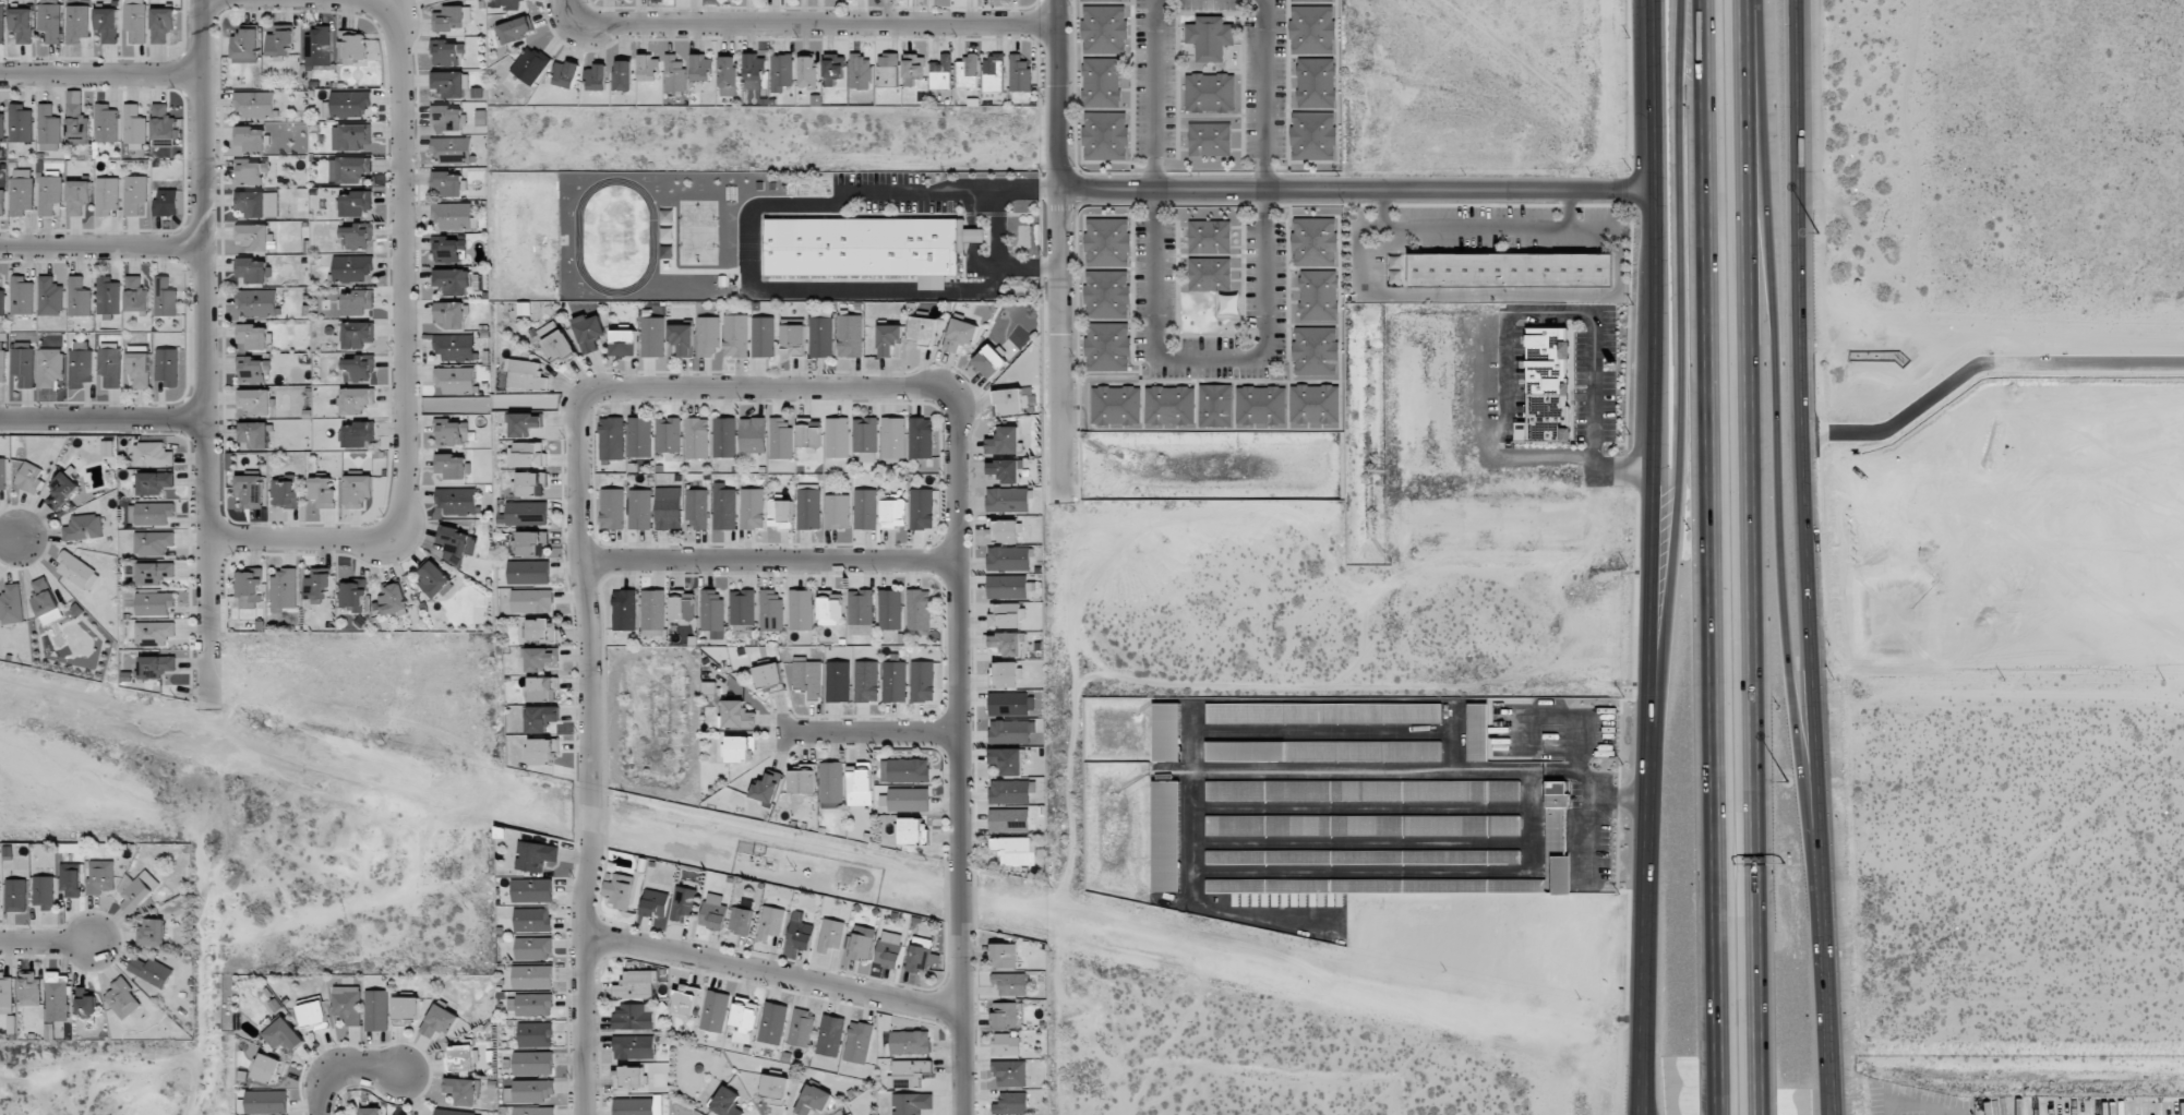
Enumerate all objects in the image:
building: (1092, 0)
building: (1313, 0)
building: (711, 2)
building: (508, 3)
building: (452, 19)
building: (135, 20)
building: (50, 22)
building: (77, 23)
building: (1, 24)
building: (22, 24)
building: (107, 24)
building: (161, 24)
road: (800, 25)
building: (515, 29)
building: (1104, 29)
building: (1312, 29)
building: (1210, 37)
building: (279, 40)
building: (245, 44)
building: (319, 47)
building: (352, 48)
building: (448, 53)
building: (530, 64)
building: (913, 65)
building: (648, 68)
building: (701, 68)
building: (887, 69)
building: (833, 70)
building: (754, 71)
building: (807, 71)
building: (861, 71)
building: (967, 71)
building: (780, 72)
building: (941, 72)
road: (103, 73)
building: (674, 73)
building: (993, 73)
building: (1019, 73)
building: (566, 74)
building: (622, 75)
building: (728, 75)
building: (597, 77)
building: (1316, 83)
building: (448, 84)
building: (1209, 93)
road: (1155, 94)
road: (1262, 94)
building: (350, 103)
building: (256, 105)
building: (1085, 109)
building: (446, 118)
building: (76, 119)
building: (20, 123)
building: (106, 123)
building: (134, 124)
building: (164, 125)
building: (1, 127)
building: (48, 129)
building: (1313, 135)
building: (356, 136)
building: (252, 139)
building: (1210, 139)
building: (452, 149)
building: (350, 169)
building: (252, 172)
building: (448, 183)
road: (1358, 189)
building: (21, 191)
building: (49, 193)
building: (135, 193)
building: (107, 195)
building: (77, 196)
building: (1, 202)
building: (166, 202)
building: (252, 203)
building: (357, 203)
building: (453, 215)
road: (996, 227)
road: (1476, 227)
building: (254, 236)
building: (358, 236)
building: (1209, 237)
building: (1315, 241)
building: (1107, 242)
road: (104, 247)
building: (861, 247)
road: (1061, 249)
building: (448, 250)
road: (751, 253)
building: (352, 268)
building: (253, 269)
building: (1510, 269)
building: (1209, 274)
building: (453, 280)
road: (397, 292)
building: (1107, 293)
road: (1500, 293)
building: (136, 295)
building: (1319, 295)
building: (22, 296)
building: (108, 296)
building: (50, 297)
building: (79, 297)
building: (165, 297)
building: (357, 301)
building: (2, 302)
building: (256, 302)
building: (1228, 303)
building: (452, 314)
building: (922, 331)
building: (589, 332)
building: (358, 334)
building: (820, 334)
building: (960, 334)
building: (850, 335)
building: (254, 336)
building: (652, 336)
building: (708, 336)
building: (735, 336)
building: (763, 336)
building: (682, 338)
building: (888, 338)
building: (792, 339)
building: (623, 343)
building: (1107, 346)
building: (454, 347)
building: (559, 347)
building: (1316, 350)
road: (208, 355)
road: (1210, 356)
building: (989, 361)
building: (23, 363)
building: (80, 363)
building: (2, 365)
building: (109, 365)
building: (139, 365)
building: (166, 365)
building: (50, 367)
building: (358, 369)
building: (254, 370)
building: (526, 374)
building: (455, 380)
road: (1684, 380)
building: (1545, 386)
building: (357, 400)
building: (254, 401)
building: (1009, 401)
building: (1313, 404)
building: (1116, 405)
building: (1260, 405)
building: (1169, 406)
building: (1215, 406)
road: (105, 415)
building: (525, 423)
road: (1780, 424)
building: (453, 432)
building: (254, 434)
building: (359, 434)
building: (668, 434)
building: (753, 435)
building: (639, 436)
building: (611, 437)
building: (696, 437)
building: (723, 437)
building: (780, 437)
building: (837, 437)
building: (865, 437)
building: (893, 437)
building: (921, 437)
building: (1004, 441)
building: (152, 454)
building: (526, 455)
building: (452, 466)
building: (1005, 470)
building: (2, 473)
building: (29, 477)
building: (155, 482)
building: (531, 483)
building: (61, 490)
building: (251, 490)
building: (358, 490)
building: (323, 491)
building: (285, 494)
building: (1007, 499)
building: (457, 501)
building: (723, 507)
building: (612, 508)
building: (639, 508)
building: (668, 508)
building: (696, 508)
building: (753, 508)
building: (808, 508)
building: (864, 508)
building: (921, 509)
building: (837, 512)
building: (151, 513)
building: (893, 513)
building: (780, 514)
building: (84, 527)
road: (8, 538)
building: (153, 542)
building: (531, 542)
building: (455, 543)
road: (1653, 557)
road: (1709, 557)
road: (1757, 557)
road: (1808, 557)
building: (1008, 559)
road: (770, 561)
road: (586, 565)
building: (77, 571)
building: (529, 572)
building: (153, 573)
building: (434, 579)
building: (1007, 586)
building: (248, 588)
building: (284, 591)
building: (353, 596)
building: (392, 599)
building: (45, 601)
building: (532, 601)
building: (155, 602)
building: (11, 604)
building: (682, 608)
building: (829, 609)
building: (889, 609)
building: (624, 610)
building: (653, 610)
building: (801, 610)
building: (919, 610)
building: (742, 611)
building: (770, 611)
building: (712, 612)
building: (861, 612)
building: (1006, 614)
building: (543, 630)
building: (154, 633)
building: (1008, 643)
building: (542, 658)
building: (157, 666)
building: (1005, 674)
building: (768, 675)
building: (808, 678)
building: (838, 681)
building: (865, 681)
building: (893, 681)
building: (922, 681)
building: (542, 688)
road: (1999, 692)
building: (1008, 704)
building: (1323, 714)
building: (737, 715)
building: (541, 718)
road: (869, 729)
building: (1010, 730)
building: (1166, 732)
building: (1477, 732)
building: (739, 747)
building: (1323, 751)
building: (543, 752)
road: (958, 754)
building: (1006, 760)
building: (904, 770)
building: (802, 780)
building: (831, 782)
building: (859, 784)
building: (766, 788)
building: (1363, 790)
building: (1010, 791)
building: (909, 799)
building: (1009, 820)
building: (1363, 825)
building: (911, 831)
building: (1555, 831)
building: (1165, 836)
road: (797, 838)
building: (1015, 850)
building: (536, 855)
building: (1363, 856)
building: (100, 876)
building: (70, 879)
building: (136, 889)
building: (532, 890)
building: (619, 890)
building: (44, 891)
building: (15, 895)
building: (682, 902)
building: (655, 903)
building: (713, 911)
road: (214, 912)
building: (532, 920)
building: (741, 920)
building: (771, 922)
building: (800, 931)
building: (151, 933)
building: (831, 935)
road: (43, 942)
building: (861, 946)
building: (532, 948)
building: (888, 954)
building: (1004, 956)
building: (922, 959)
building: (151, 971)
building: (532, 976)
road: (775, 978)
building: (1010, 983)
building: (636, 985)
building: (28, 990)
building: (5, 993)
building: (57, 996)
building: (122, 998)
building: (85, 1000)
building: (685, 1000)
building: (347, 1004)
building: (533, 1004)
building: (406, 1009)
building: (376, 1010)
building: (715, 1011)
building: (313, 1012)
building: (744, 1015)
building: (1005, 1015)
building: (632, 1017)
building: (440, 1021)
building: (772, 1022)
building: (801, 1028)
building: (535, 1033)
building: (284, 1034)
building: (830, 1035)
building: (857, 1042)
building: (910, 1042)
building: (1006, 1044)
building: (633, 1046)
building: (461, 1058)
building: (532, 1063)
building: (268, 1067)
road: (343, 1072)
building: (907, 1074)
building: (1010, 1074)
building: (629, 1078)
building: (775, 1088)
building: (463, 1090)
building: (530, 1091)
building: (813, 1100)
building: (266, 1102)
building: (725, 1102)
building: (911, 1103)
building: (1011, 1103)
building: (637, 1106)
building: (371, 1111)
building: (532, 1111)
building: (452, 1112)
building: (850, 1114)

